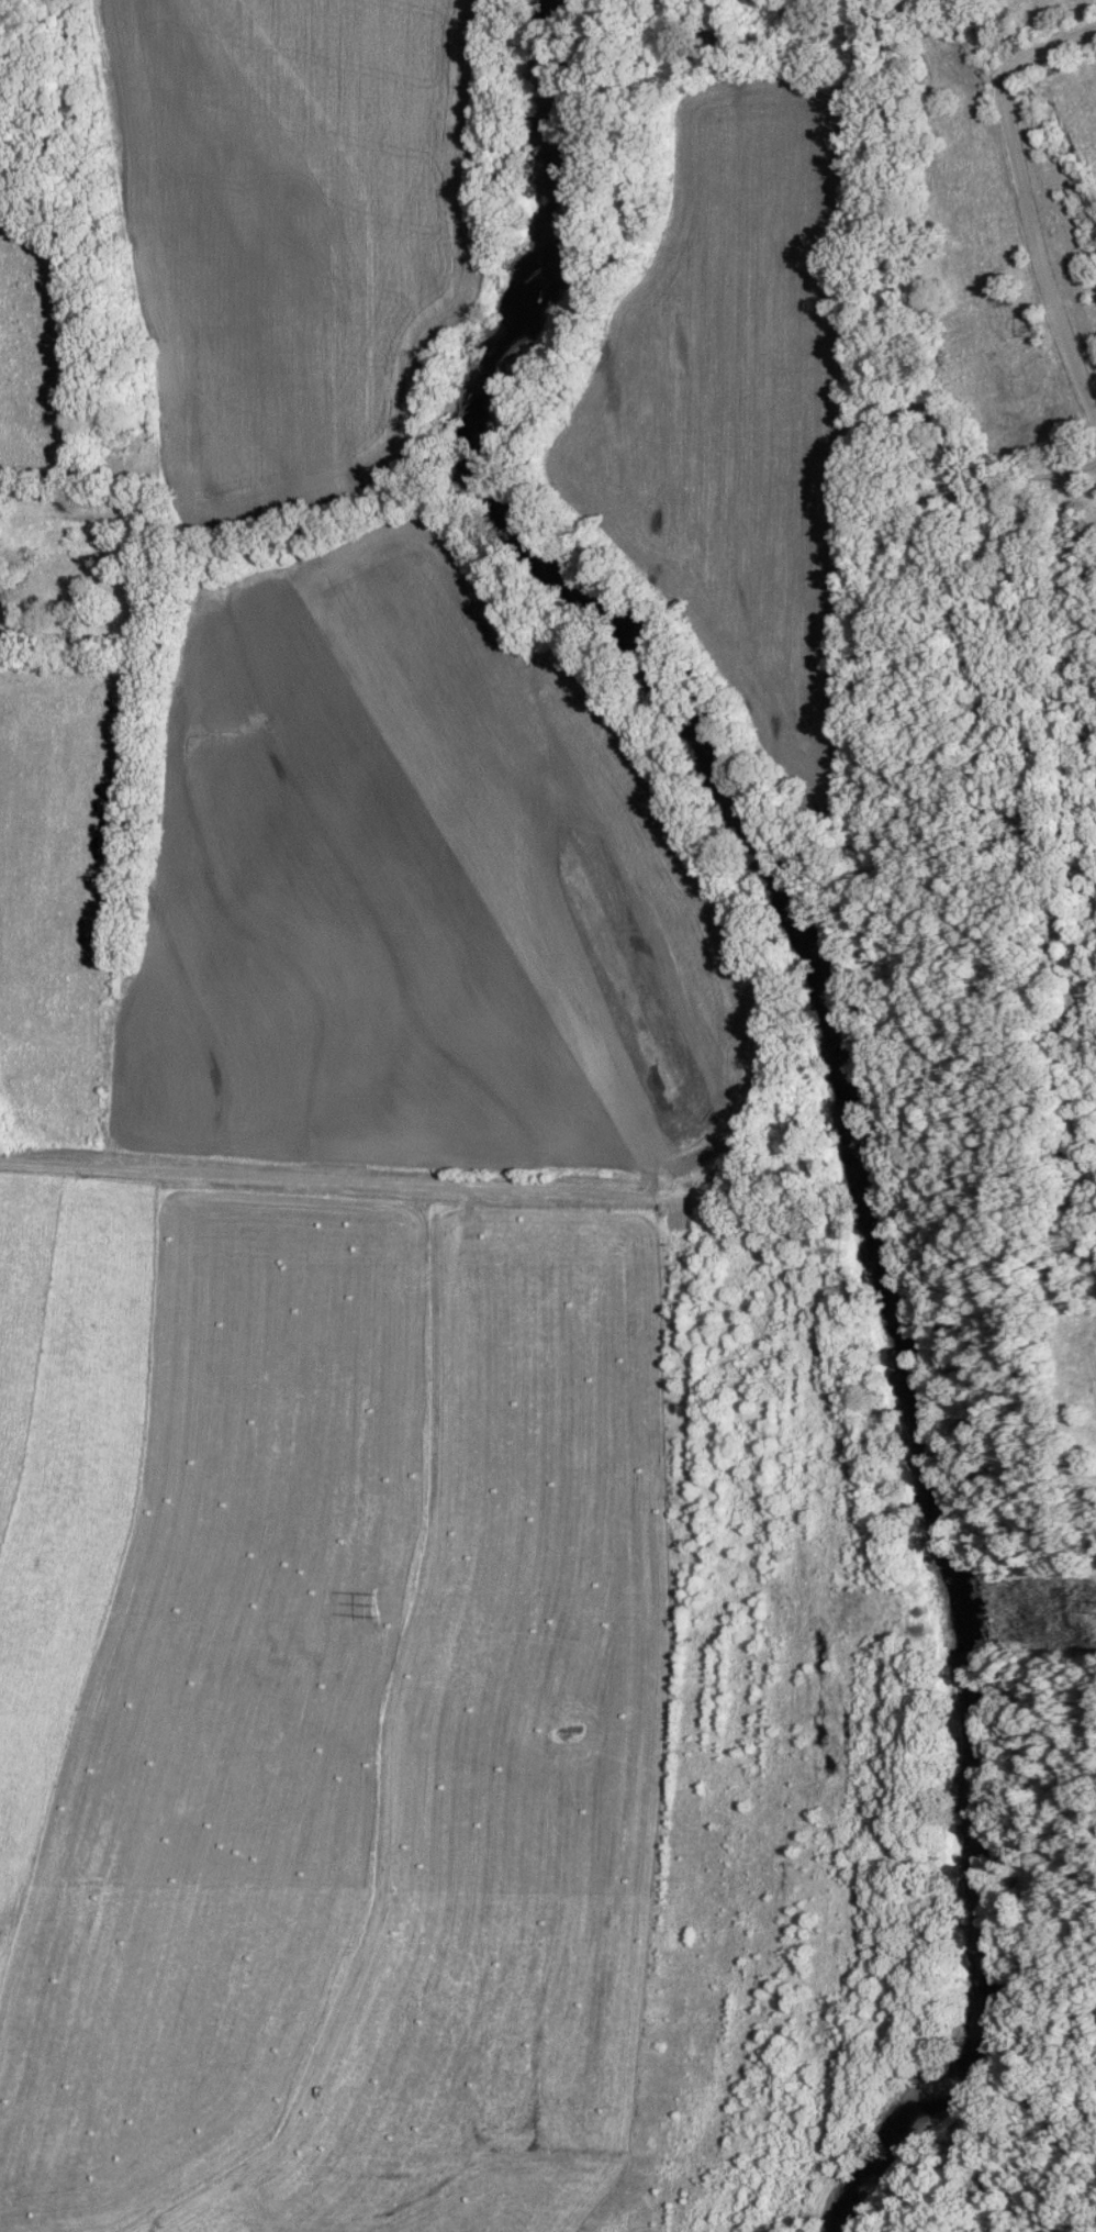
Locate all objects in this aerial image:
road: (1026, 196)
road: (764, 1030)
river: (847, 1080)
building: (566, 1730)

